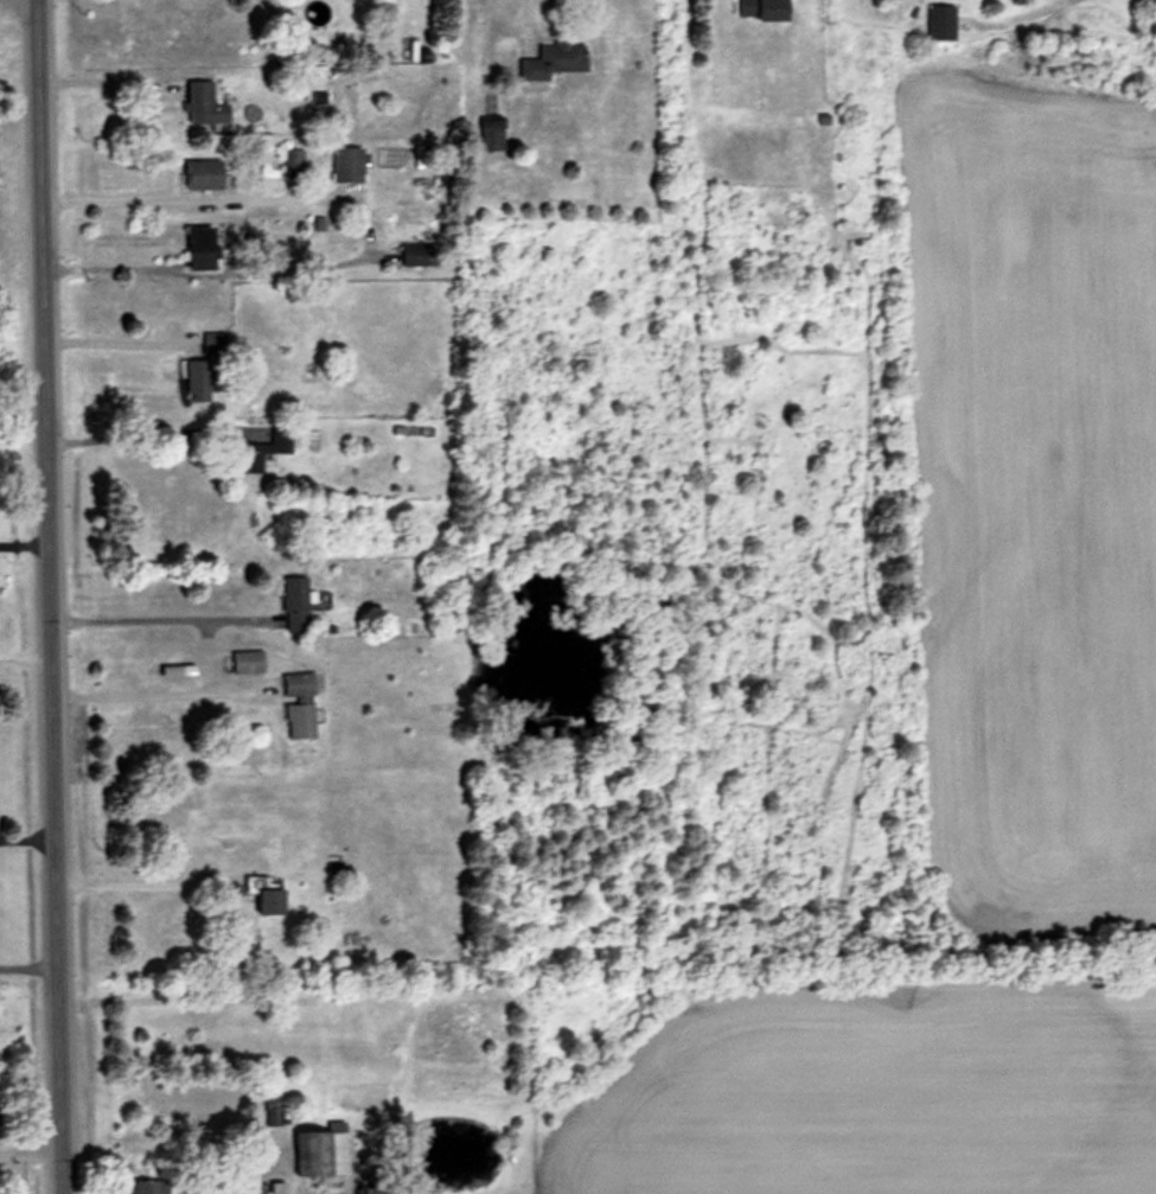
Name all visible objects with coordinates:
building: (766, 8)
road: (529, 15)
building: (943, 20)
building: (556, 58)
building: (207, 104)
building: (494, 134)
building: (350, 164)
building: (207, 173)
road: (192, 193)
building: (204, 247)
road: (108, 340)
building: (200, 378)
building: (266, 447)
road: (24, 543)
road: (49, 596)
building: (296, 602)
road: (157, 619)
building: (249, 659)
road: (141, 694)
building: (300, 702)
road: (27, 837)
road: (133, 882)
building: (269, 889)
road: (28, 966)
building: (274, 1107)
building: (325, 1149)
building: (151, 1185)

